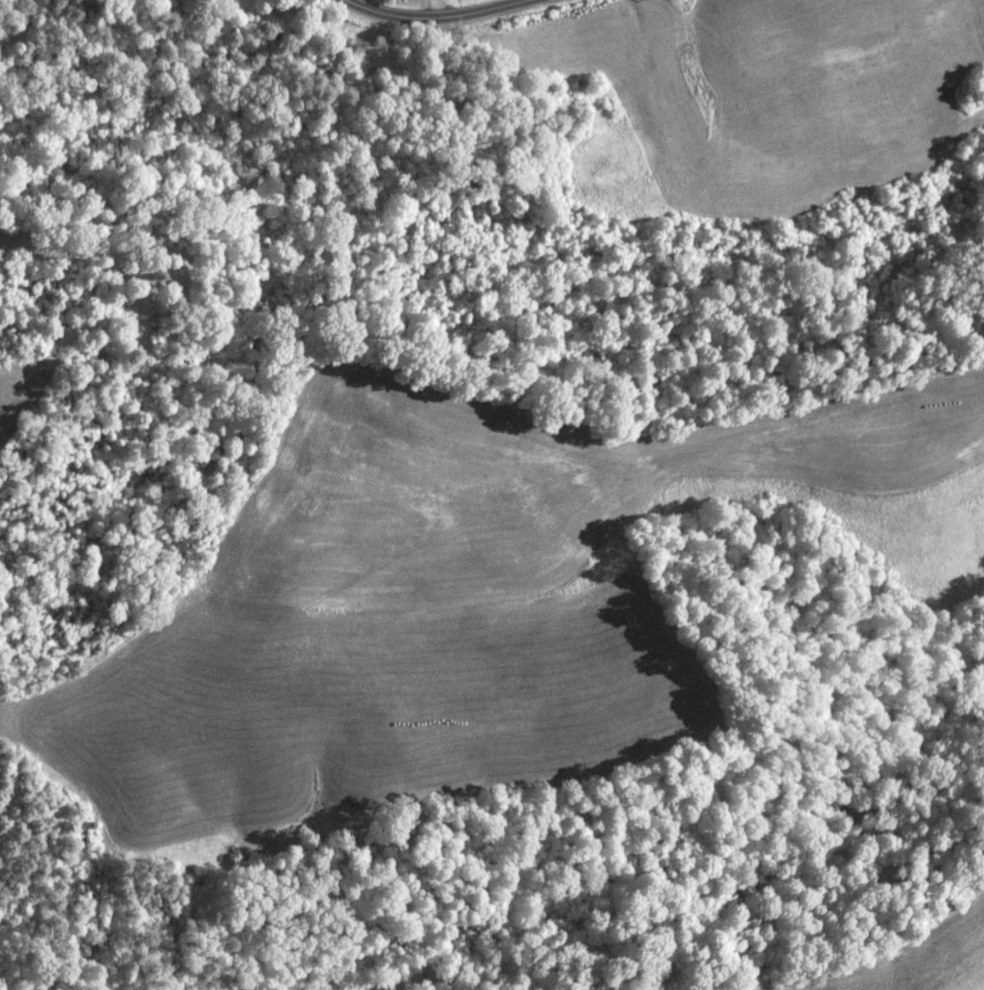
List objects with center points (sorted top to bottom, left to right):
road: (435, 8)
road: (430, 17)

